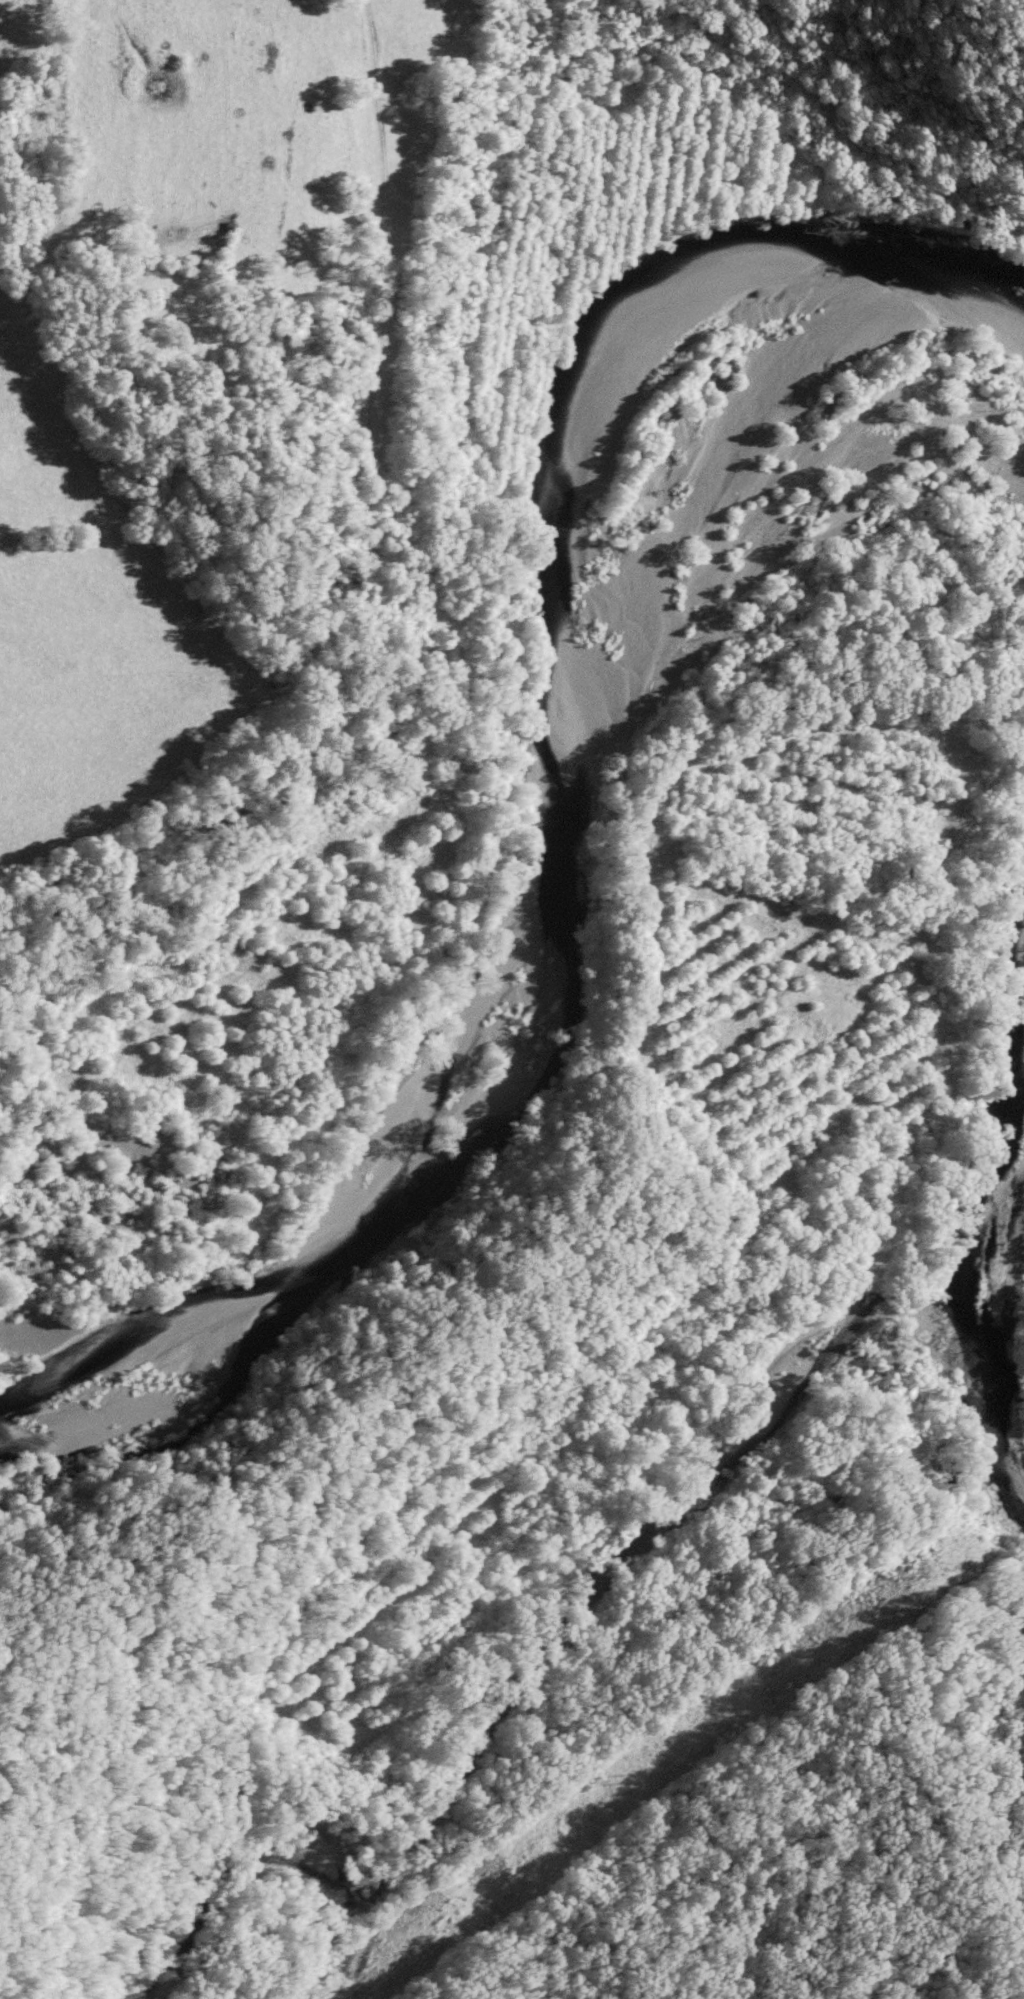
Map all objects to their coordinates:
road: (405, 352)
river: (545, 824)
river: (973, 1212)

